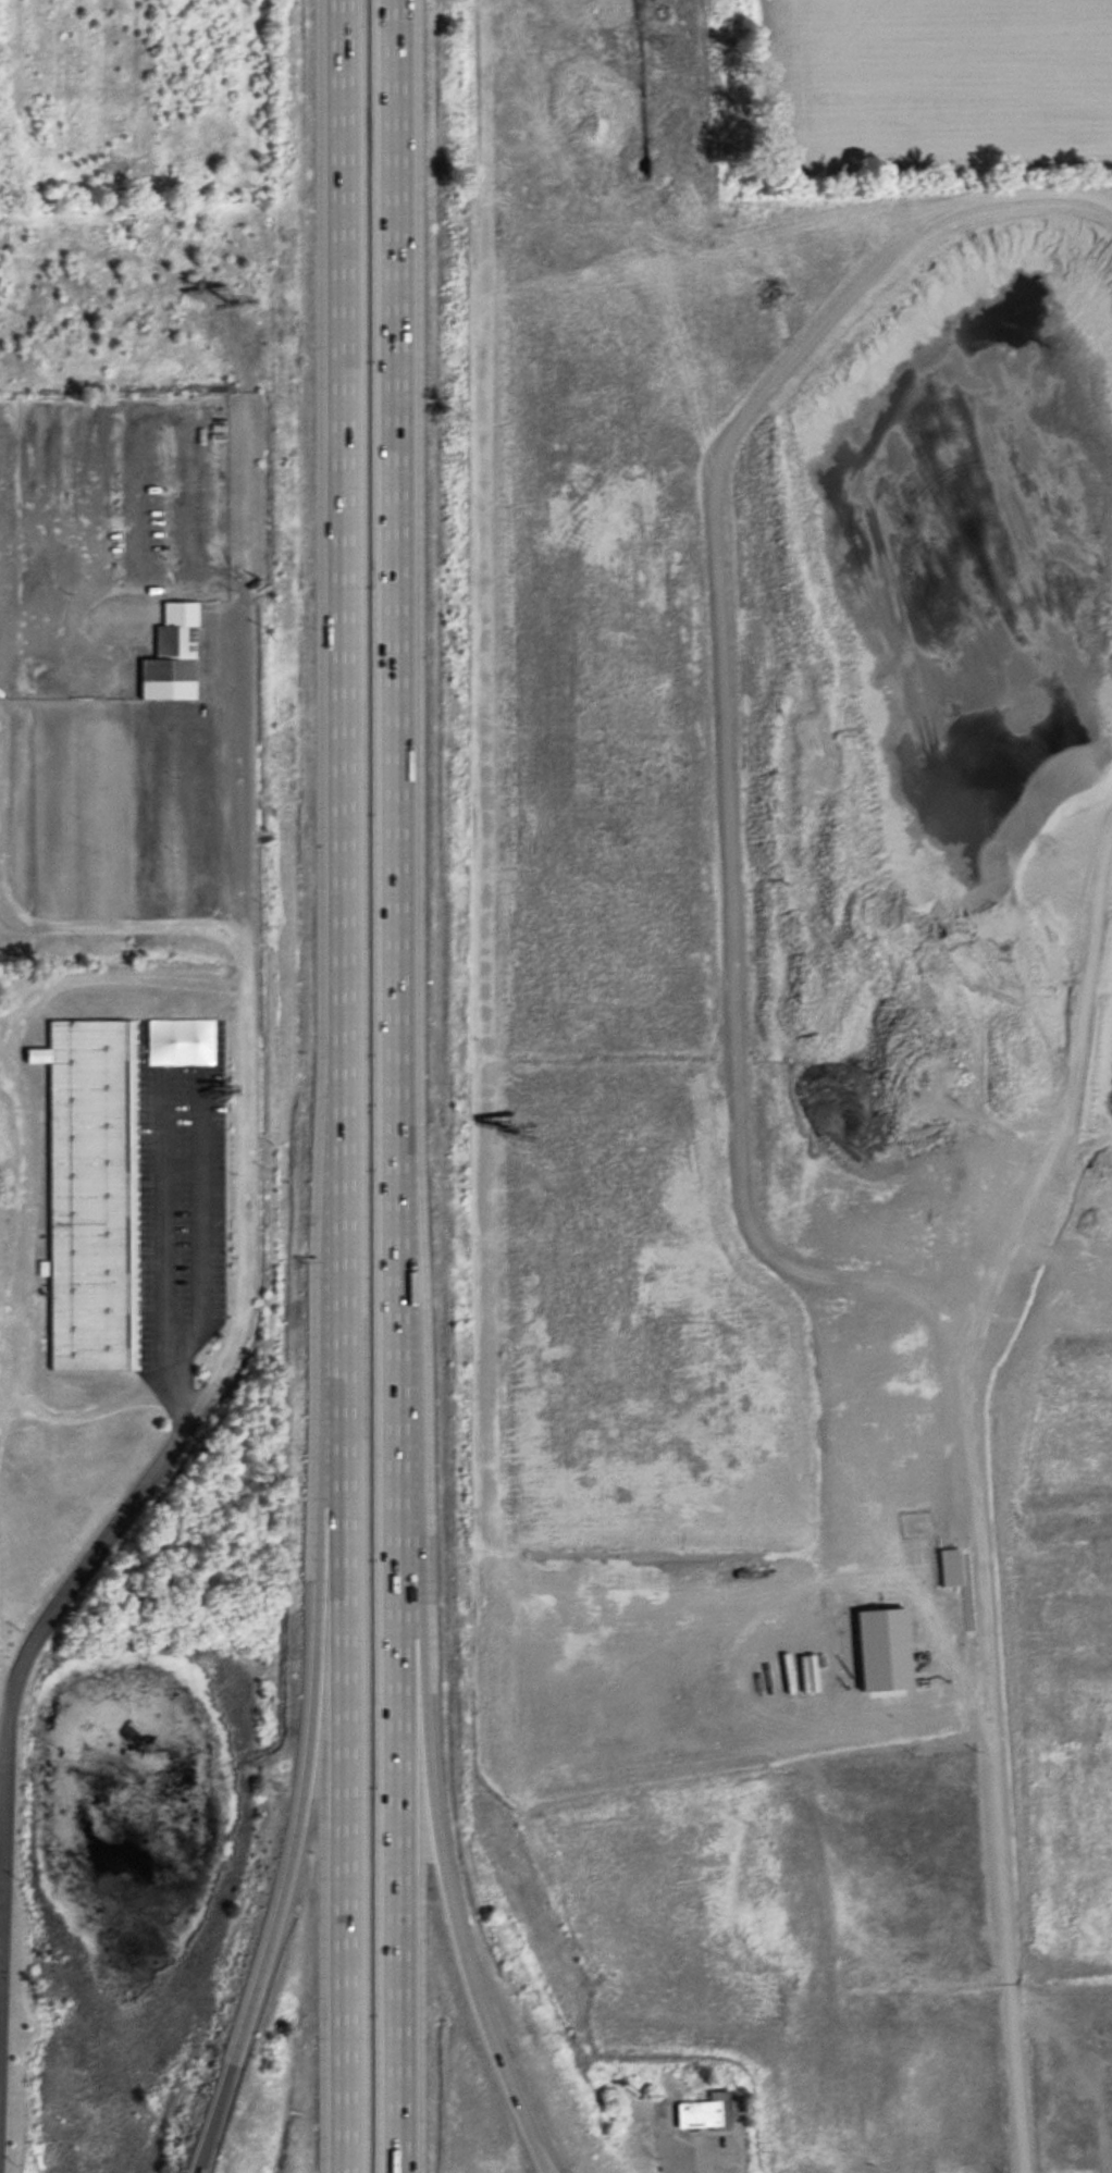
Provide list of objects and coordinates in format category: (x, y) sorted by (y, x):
building: (172, 656)
road: (339, 1086)
road: (400, 1086)
building: (90, 1196)
road: (248, 1223)
road: (160, 1229)
building: (492, 1571)
road: (273, 1926)
road: (471, 2009)
building: (703, 2114)

